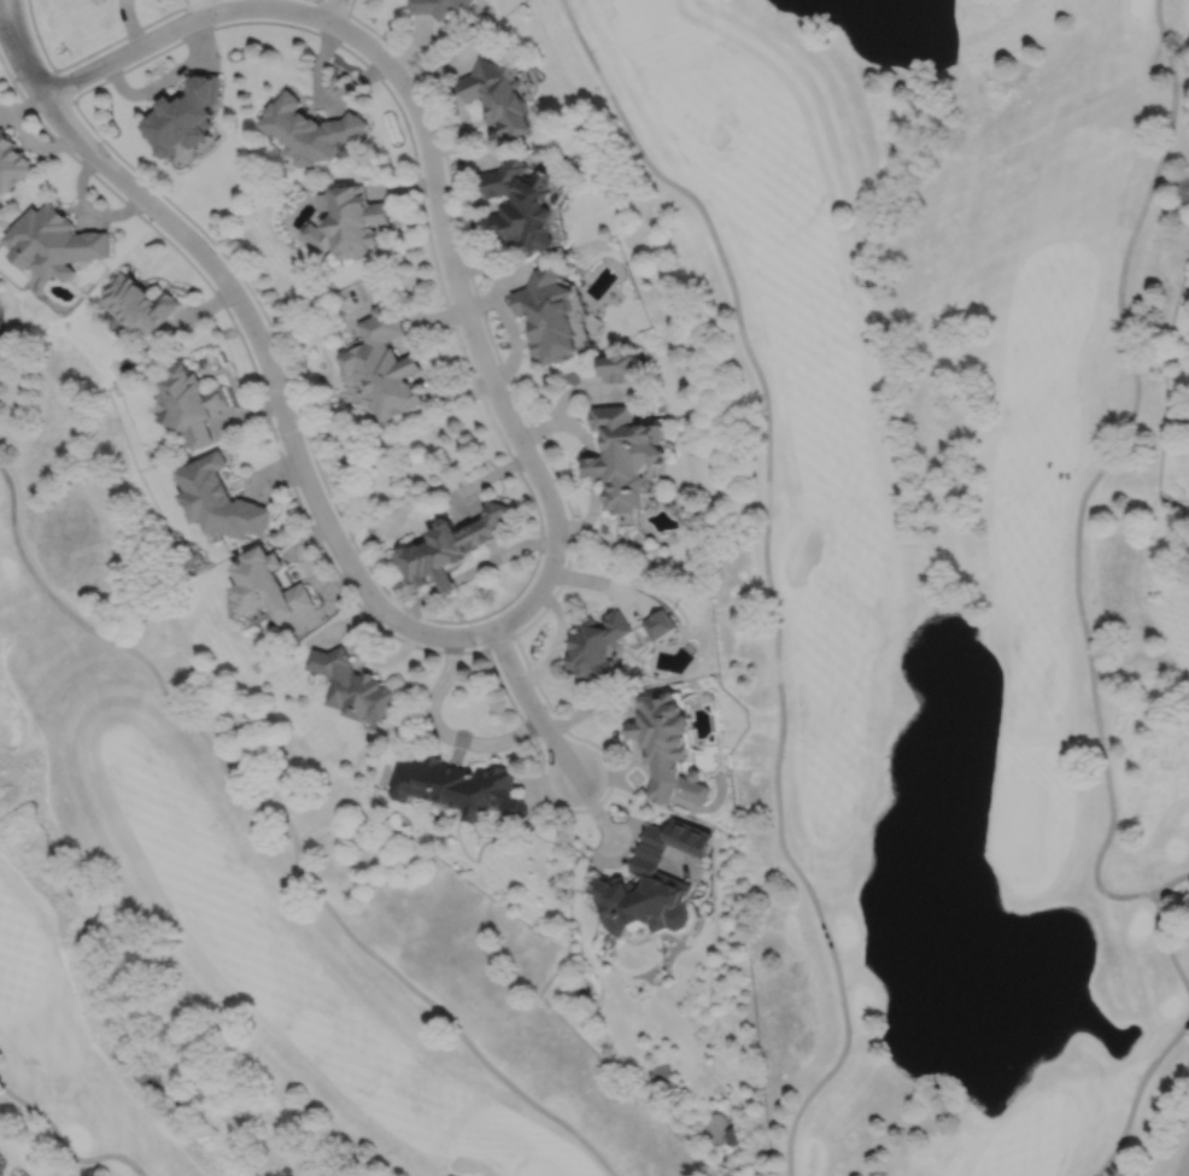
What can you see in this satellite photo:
road: (317, 0)
street lamp: (347, 1)
road: (332, 5)
building: (437, 6)
road: (330, 10)
street lamp: (215, 23)
road: (93, 51)
street lamp: (412, 75)
street lamp: (18, 82)
road: (61, 84)
street lamp: (78, 88)
building: (500, 94)
building: (186, 115)
building: (310, 129)
building: (12, 162)
road: (433, 175)
building: (523, 203)
street lamp: (153, 221)
building: (348, 221)
street lamp: (433, 238)
building: (55, 242)
building: (139, 303)
street lamp: (232, 315)
building: (550, 315)
road: (254, 333)
street lamp: (465, 347)
building: (385, 363)
building: (619, 368)
building: (191, 405)
street lamp: (301, 432)
street lamp: (510, 445)
building: (625, 456)
building: (219, 499)
road: (1077, 517)
road: (539, 531)
building: (369, 542)
park: (930, 543)
building: (451, 546)
street lamp: (563, 561)
road: (766, 577)
building: (268, 584)
street lamp: (355, 596)
building: (658, 624)
road: (499, 640)
building: (594, 644)
street lamp: (473, 645)
building: (352, 684)
road: (528, 702)
street lamp: (549, 709)
building: (664, 745)
building: (459, 785)
road: (552, 801)
road: (289, 829)
road: (1171, 880)
building: (651, 882)
park: (233, 885)
road: (1136, 1092)
building: (732, 1136)
road: (65, 1147)
road: (1177, 1149)
road: (1184, 1165)

